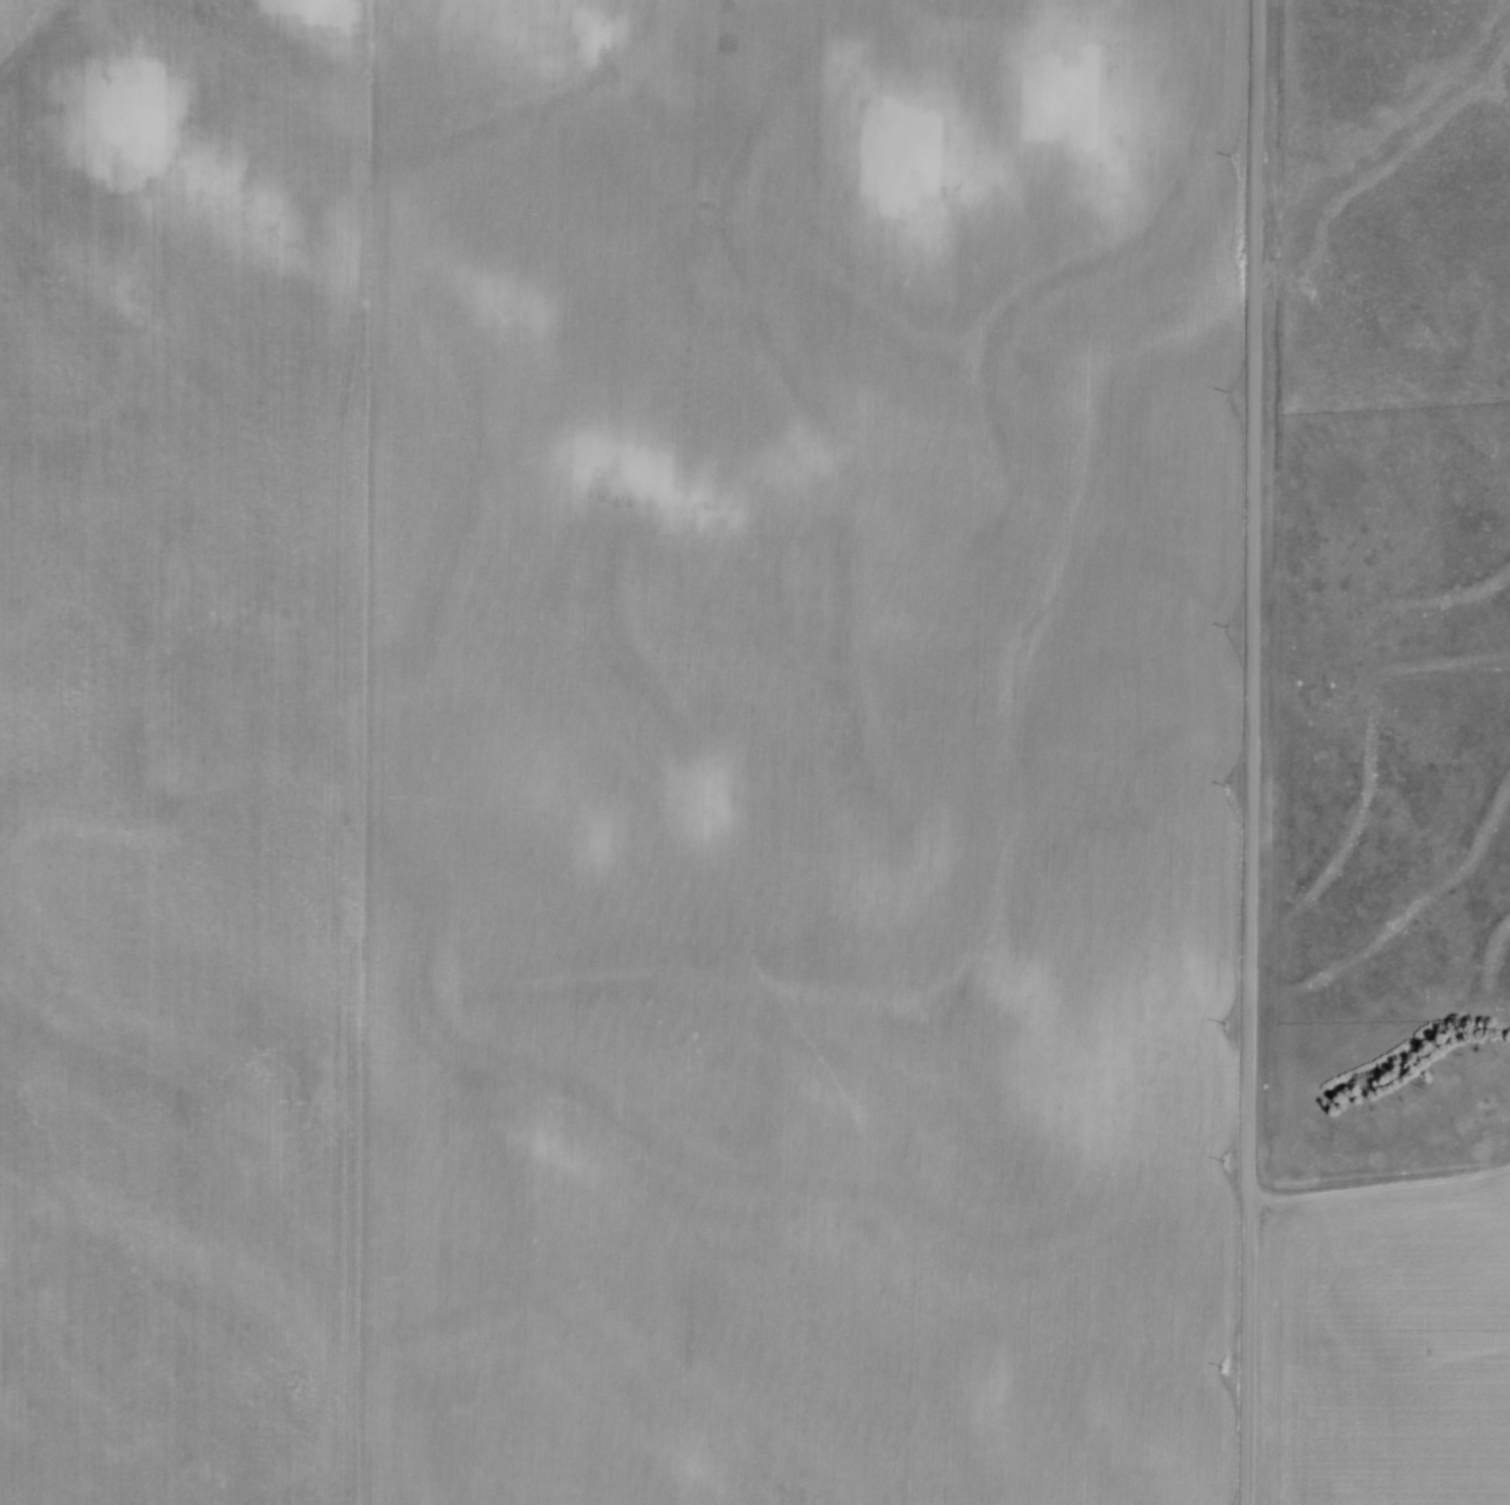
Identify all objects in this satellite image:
crop: (616, 750)
road: (1251, 752)
crop: (1390, 1350)

